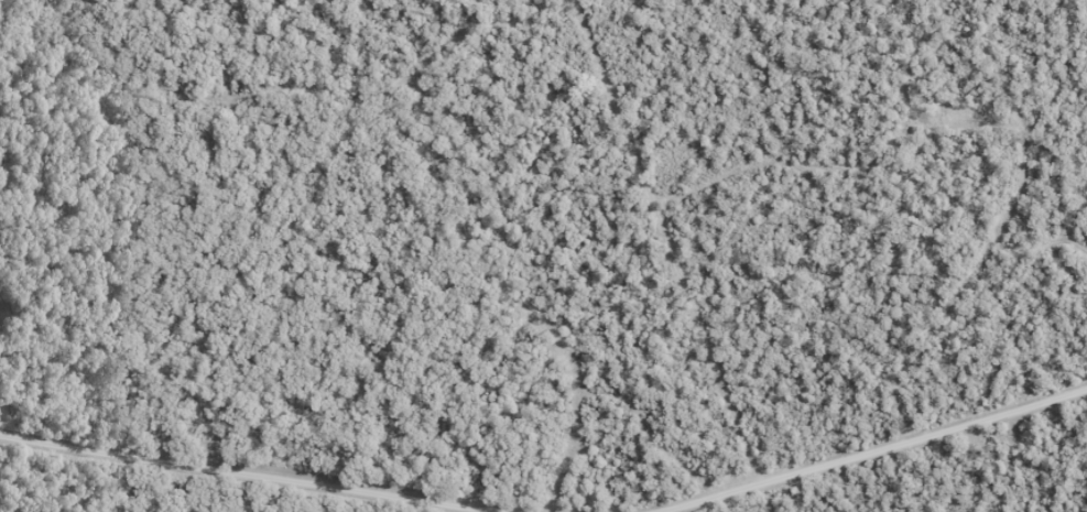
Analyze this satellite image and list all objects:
road: (873, 453)
road: (244, 477)

